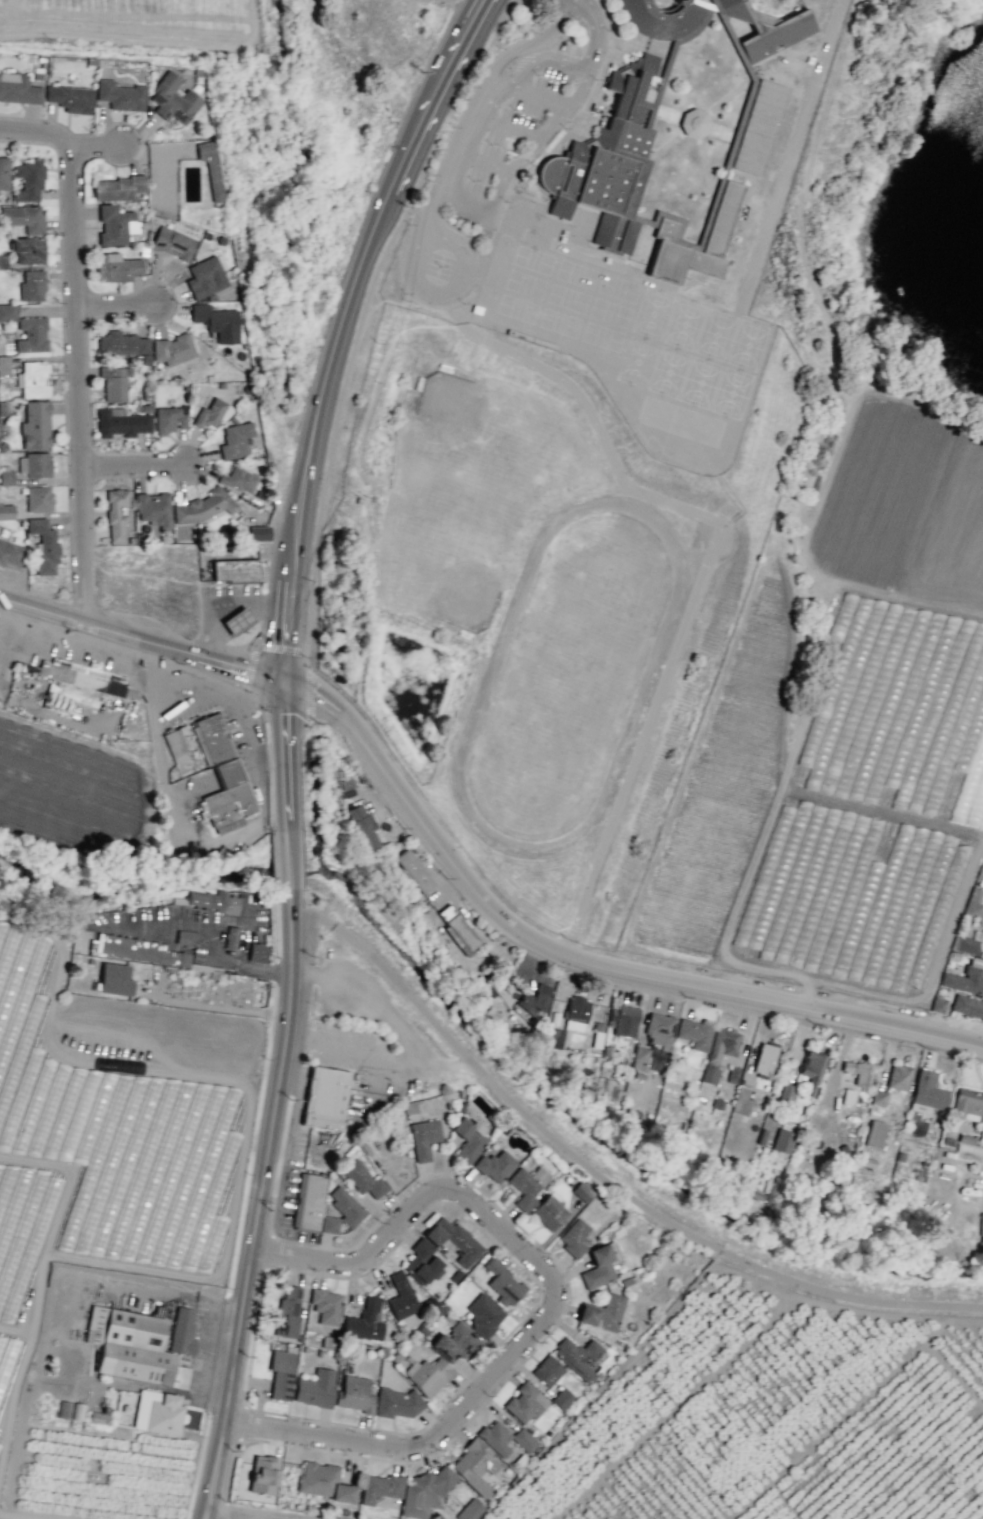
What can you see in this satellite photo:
building: (660, 18)
building: (766, 28)
road: (596, 32)
road: (525, 70)
building: (747, 70)
building: (18, 88)
crop: (358, 89)
building: (120, 95)
road: (538, 96)
building: (70, 98)
building: (172, 100)
road: (470, 103)
road: (563, 112)
building: (693, 123)
building: (757, 126)
road: (510, 129)
crop: (224, 136)
road: (35, 139)
road: (100, 146)
road: (787, 156)
road: (519, 160)
building: (606, 160)
road: (484, 164)
building: (210, 167)
building: (3, 174)
building: (28, 180)
building: (115, 188)
road: (452, 200)
building: (23, 218)
building: (115, 225)
building: (717, 229)
building: (172, 243)
building: (27, 250)
building: (2, 262)
building: (115, 267)
building: (204, 277)
road: (418, 284)
building: (31, 286)
road: (119, 307)
building: (7, 312)
building: (217, 322)
road: (350, 331)
building: (31, 334)
building: (120, 343)
building: (172, 349)
building: (4, 365)
building: (32, 380)
building: (114, 382)
road: (79, 384)
building: (3, 408)
building: (209, 414)
building: (169, 419)
building: (120, 422)
building: (35, 426)
building: (234, 440)
building: (33, 464)
road: (135, 469)
building: (6, 478)
building: (238, 480)
park: (470, 496)
building: (38, 499)
building: (153, 509)
building: (6, 511)
building: (115, 515)
building: (255, 533)
building: (43, 546)
building: (10, 555)
road: (705, 559)
building: (234, 570)
building: (236, 621)
road: (145, 640)
track: (568, 674)
building: (81, 677)
traffic signals: (290, 686)
crop: (842, 696)
road: (241, 713)
building: (174, 746)
crop: (73, 752)
building: (222, 775)
building: (361, 826)
building: (412, 871)
building: (979, 872)
park: (123, 876)
building: (211, 901)
building: (973, 903)
building: (982, 916)
building: (456, 929)
building: (231, 937)
building: (185, 938)
building: (968, 943)
building: (136, 950)
building: (256, 952)
road: (592, 952)
building: (953, 956)
road: (582, 958)
building: (966, 977)
building: (114, 979)
building: (534, 999)
building: (936, 1003)
building: (967, 1006)
building: (576, 1013)
building: (625, 1020)
building: (658, 1030)
building: (597, 1034)
building: (693, 1034)
building: (555, 1038)
building: (719, 1051)
building: (639, 1054)
building: (763, 1059)
building: (654, 1063)
building: (811, 1070)
building: (857, 1071)
building: (732, 1074)
building: (898, 1077)
building: (928, 1091)
building: (327, 1092)
building: (785, 1093)
building: (847, 1096)
building: (878, 1097)
building: (740, 1101)
road: (281, 1105)
building: (967, 1105)
building: (873, 1134)
building: (423, 1138)
building: (468, 1139)
building: (964, 1139)
building: (782, 1141)
building: (495, 1165)
road: (600, 1178)
building: (362, 1179)
building: (527, 1185)
building: (581, 1191)
building: (309, 1201)
building: (346, 1206)
building: (548, 1212)
building: (328, 1224)
building: (981, 1229)
building: (573, 1237)
building: (453, 1240)
crop: (114, 1251)
building: (421, 1262)
building: (599, 1265)
building: (502, 1283)
building: (400, 1297)
building: (326, 1306)
road: (552, 1306)
building: (288, 1311)
building: (601, 1313)
building: (483, 1315)
building: (364, 1321)
building: (182, 1330)
building: (455, 1343)
building: (132, 1347)
building: (577, 1357)
building: (546, 1370)
building: (281, 1374)
building: (428, 1375)
building: (315, 1388)
building: (354, 1394)
building: (561, 1398)
building: (395, 1403)
building: (523, 1403)
building: (61, 1409)
building: (77, 1411)
building: (157, 1412)
crop: (772, 1416)
building: (504, 1438)
building: (476, 1467)
building: (263, 1474)
building: (322, 1482)
building: (380, 1487)
building: (424, 1493)
building: (469, 1510)
crop: (39, 1514)
crop: (238, 1514)
road: (247, 1514)

